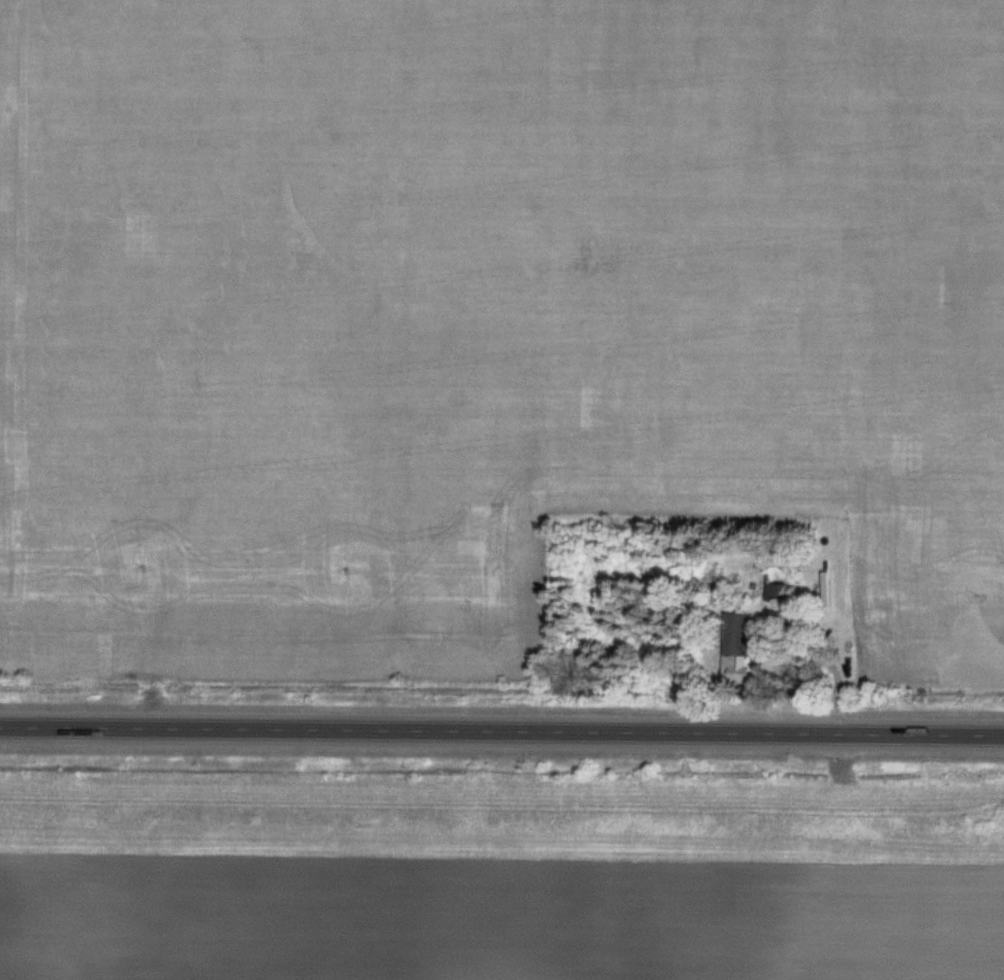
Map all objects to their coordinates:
building: (775, 591)
building: (738, 647)
road: (831, 670)
road: (502, 726)

